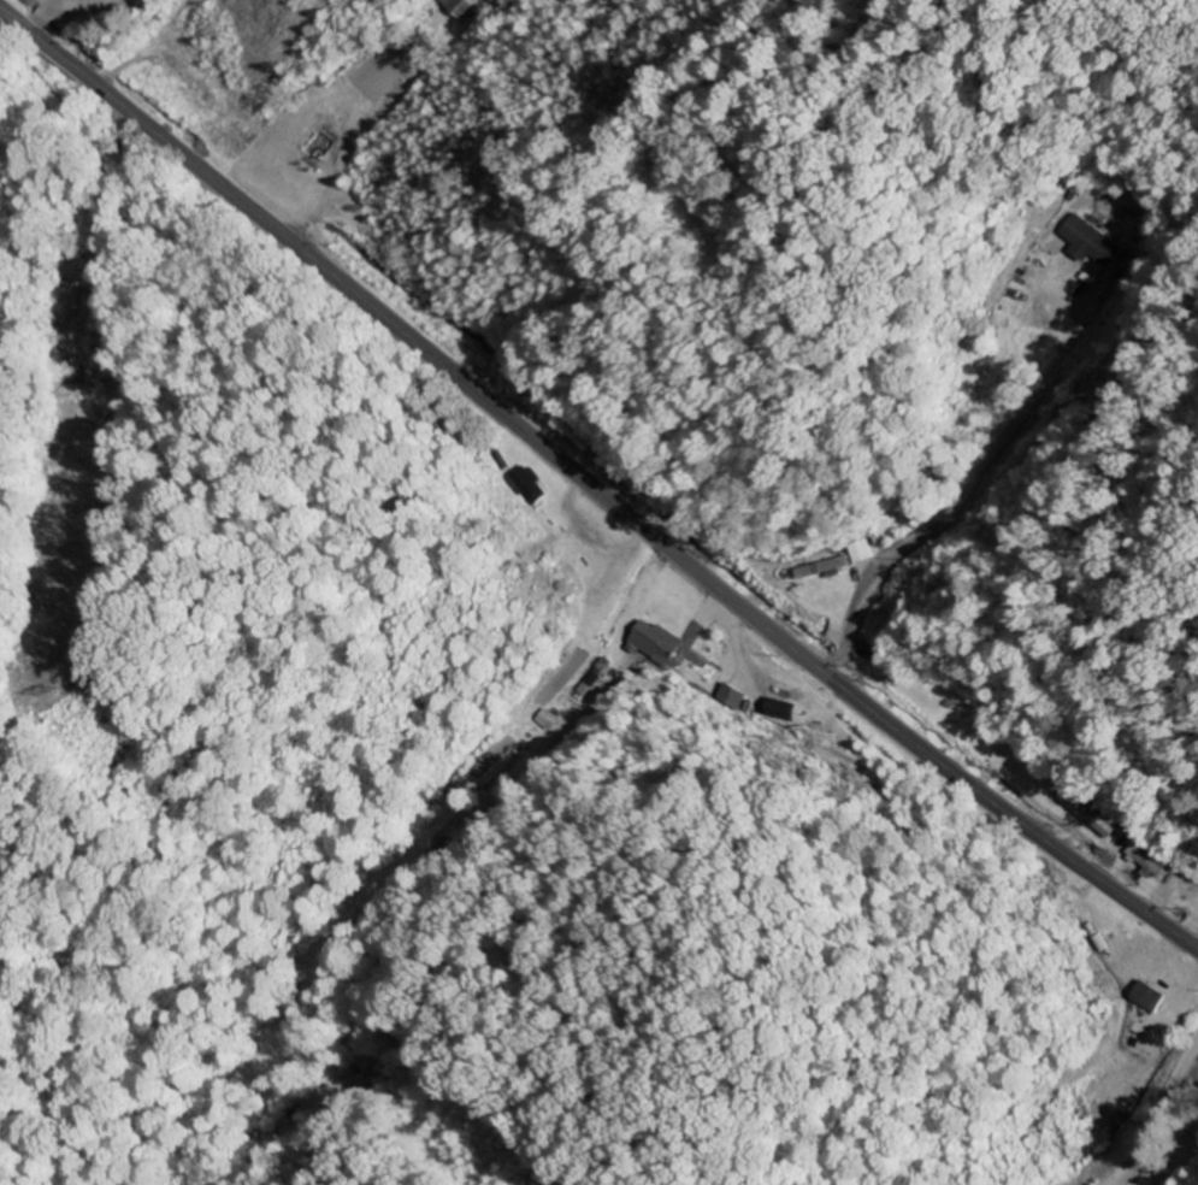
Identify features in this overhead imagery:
building: (460, 6)
building: (1094, 243)
building: (526, 485)
road: (594, 485)
building: (826, 570)
building: (655, 644)
power tower: (40, 685)
building: (777, 711)

